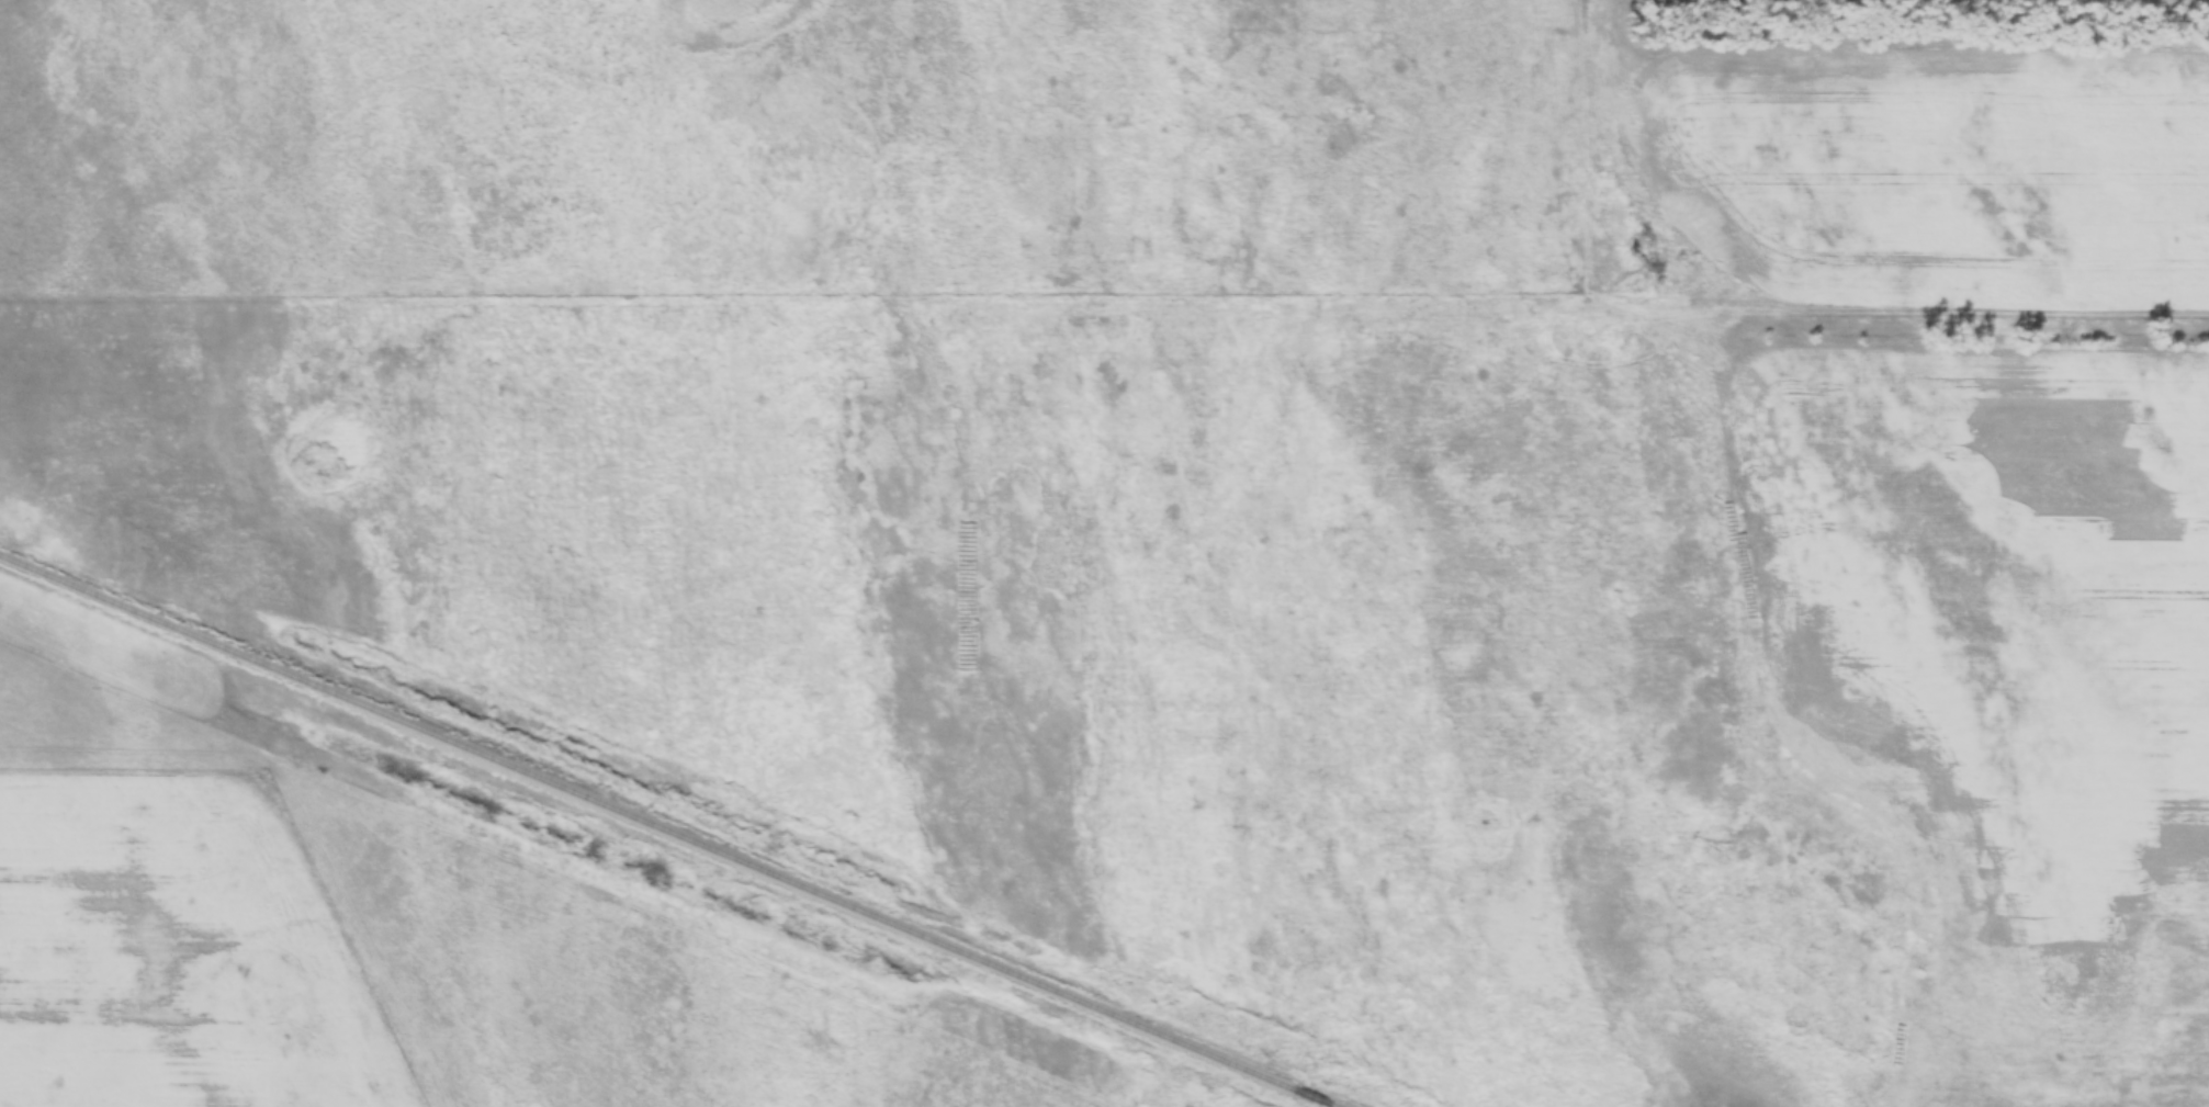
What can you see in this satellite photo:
railway: (646, 821)
railway: (1311, 1096)
railway: (1333, 1105)

